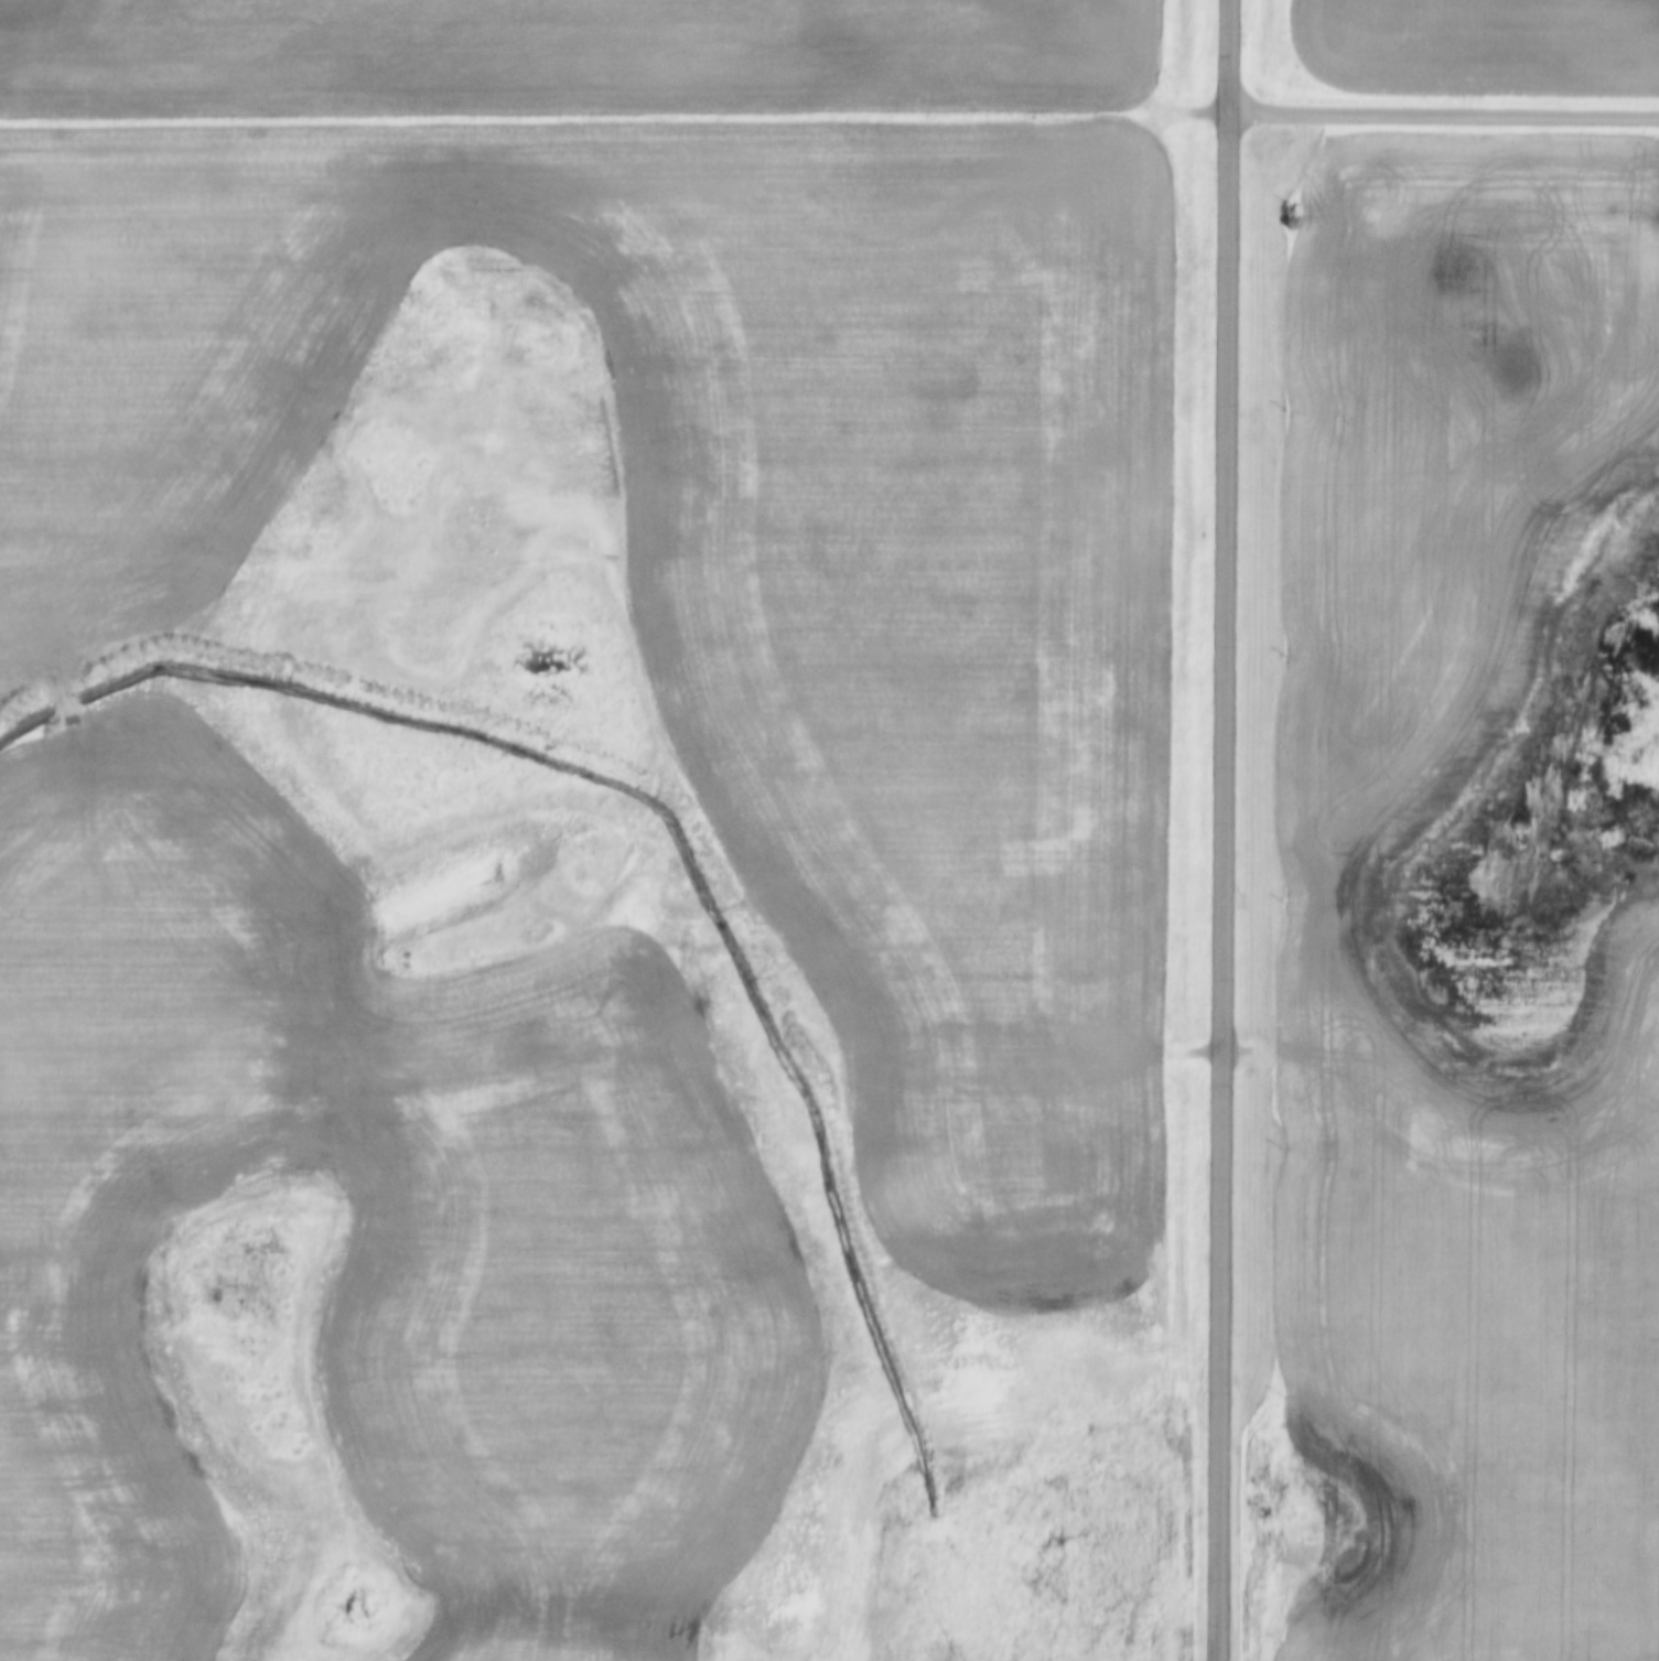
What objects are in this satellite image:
road: (1442, 118)
building: (1290, 225)
road: (1221, 830)

